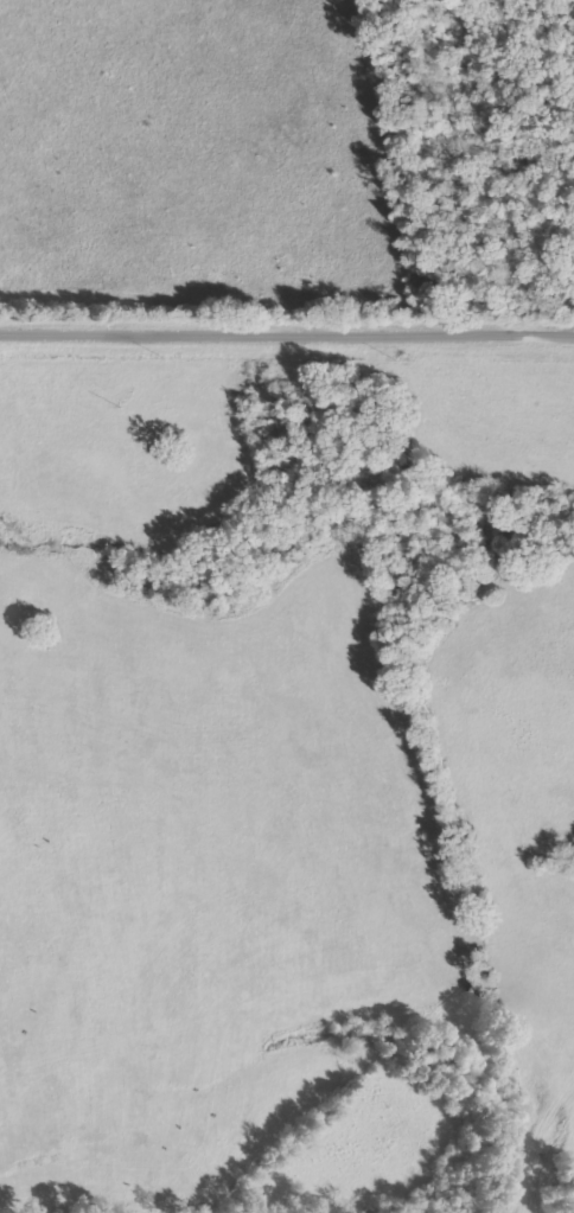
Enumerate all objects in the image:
road: (287, 312)

